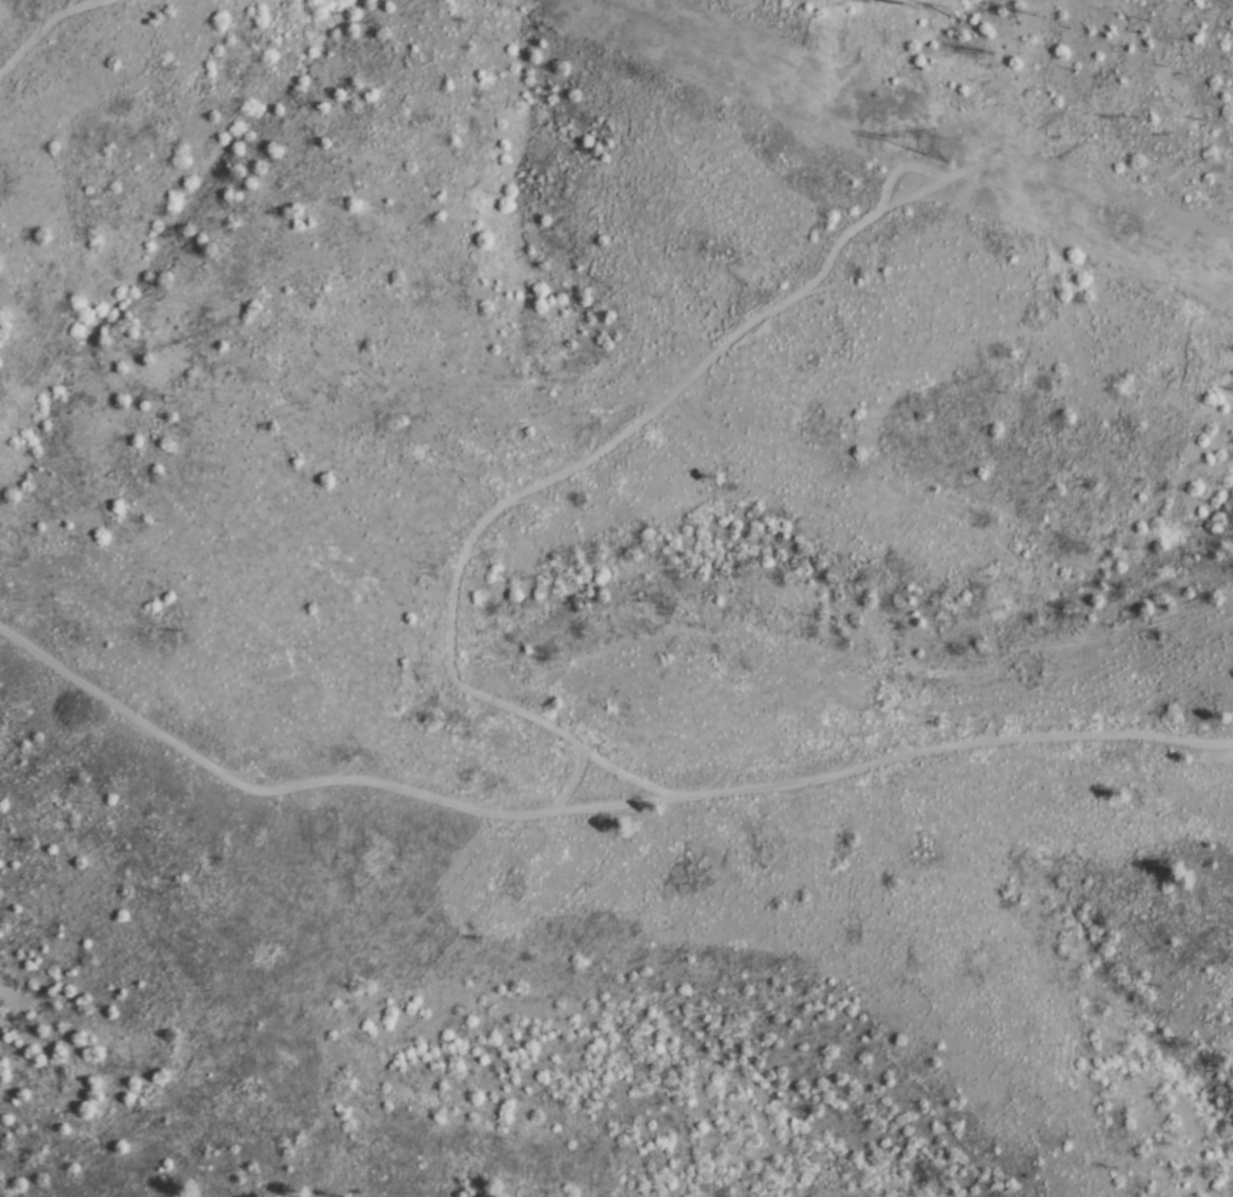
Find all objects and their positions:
road: (53, 25)
power tower: (942, 147)
road: (901, 166)
road: (562, 472)
road: (573, 784)
road: (592, 806)
road: (13, 1002)

